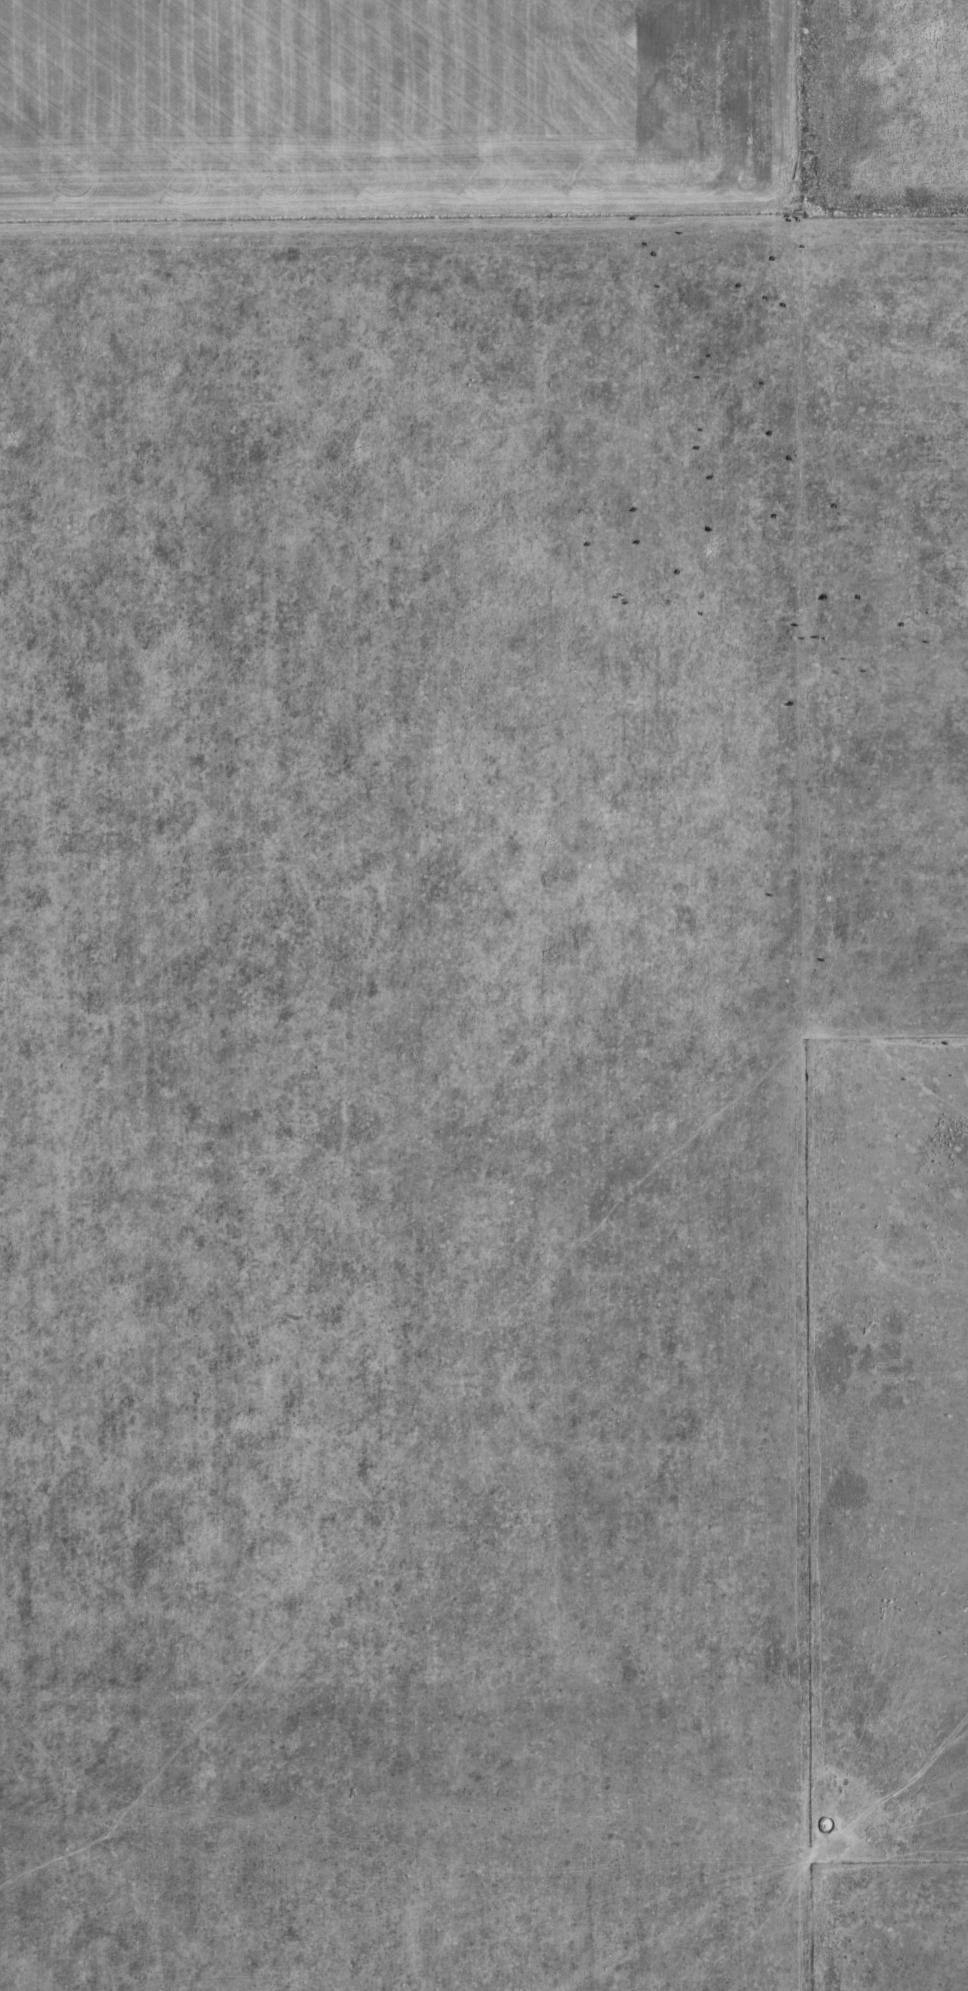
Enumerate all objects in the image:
road: (441, 204)

